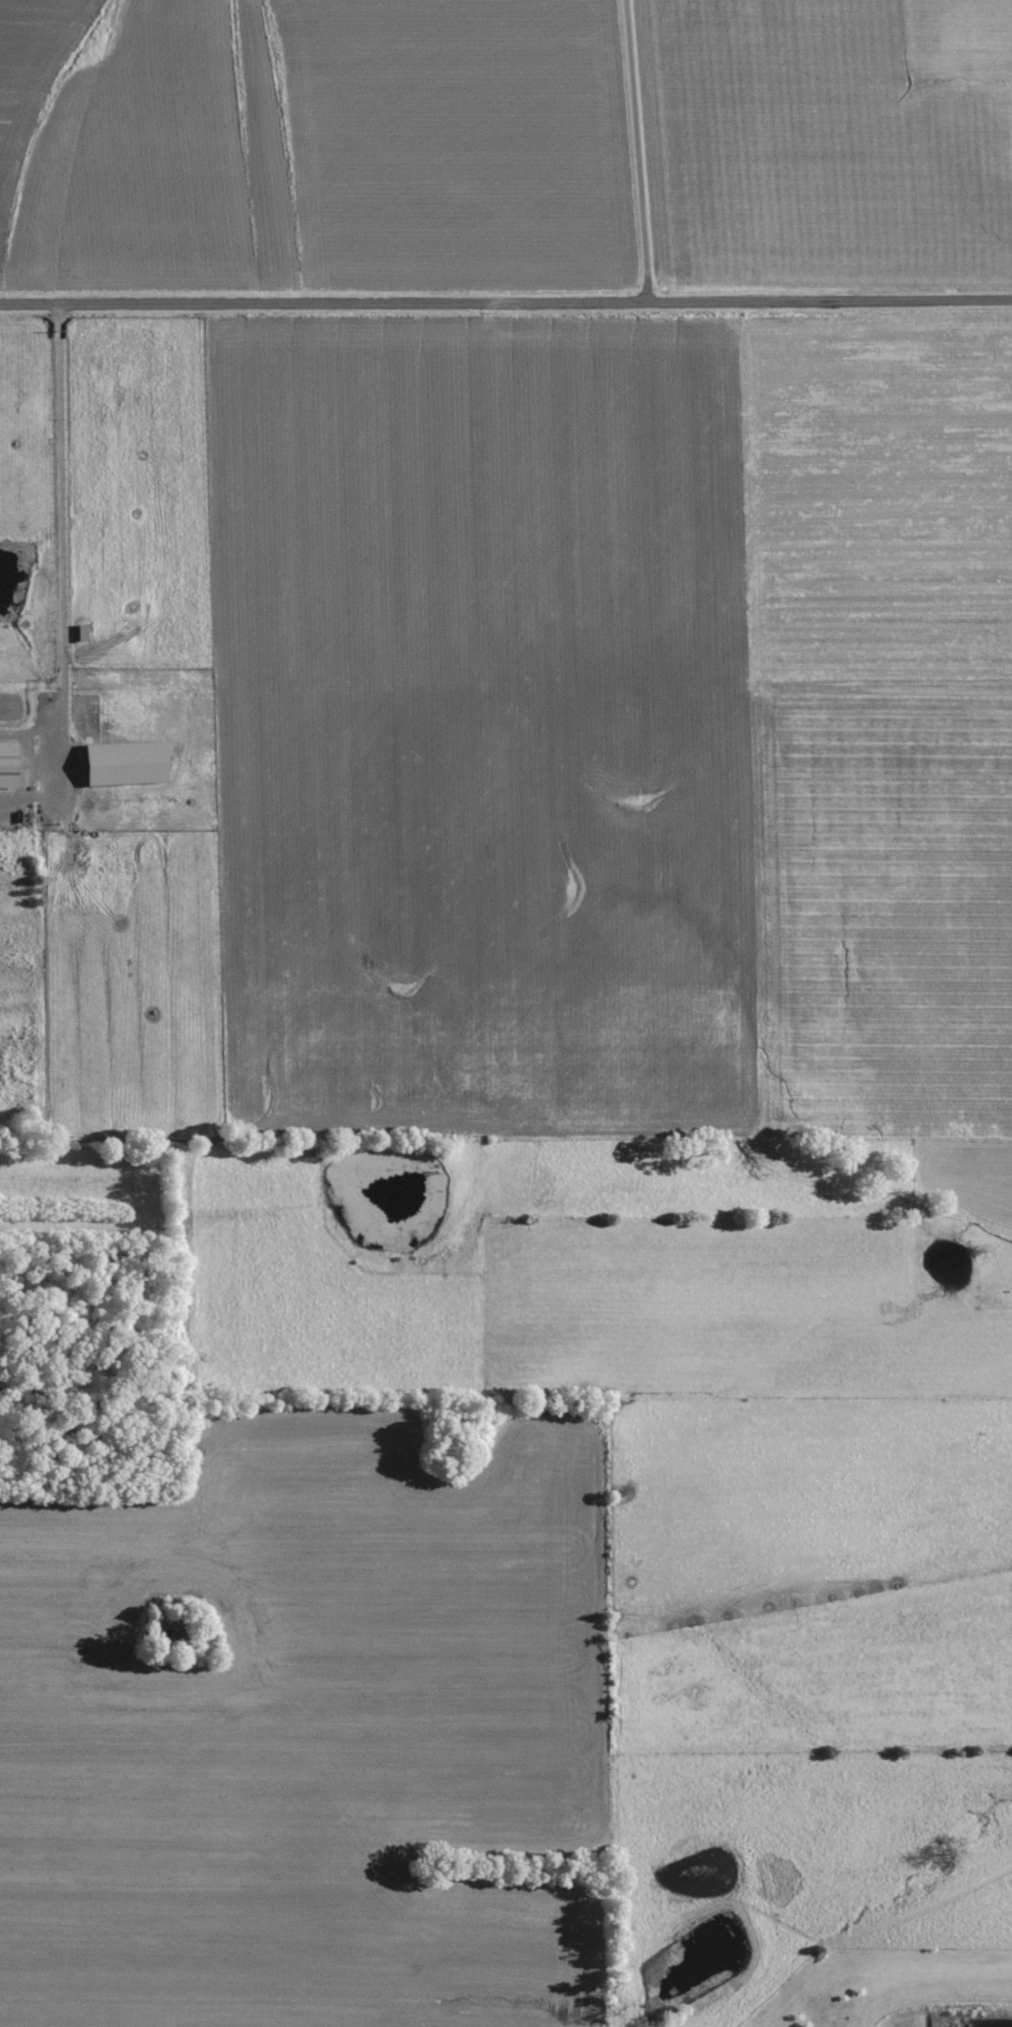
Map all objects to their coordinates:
crop: (828, 143)
crop: (454, 144)
road: (634, 152)
road: (505, 305)
crop: (482, 654)
building: (124, 763)
building: (7, 765)
crop: (494, 1063)
crop: (305, 1735)

